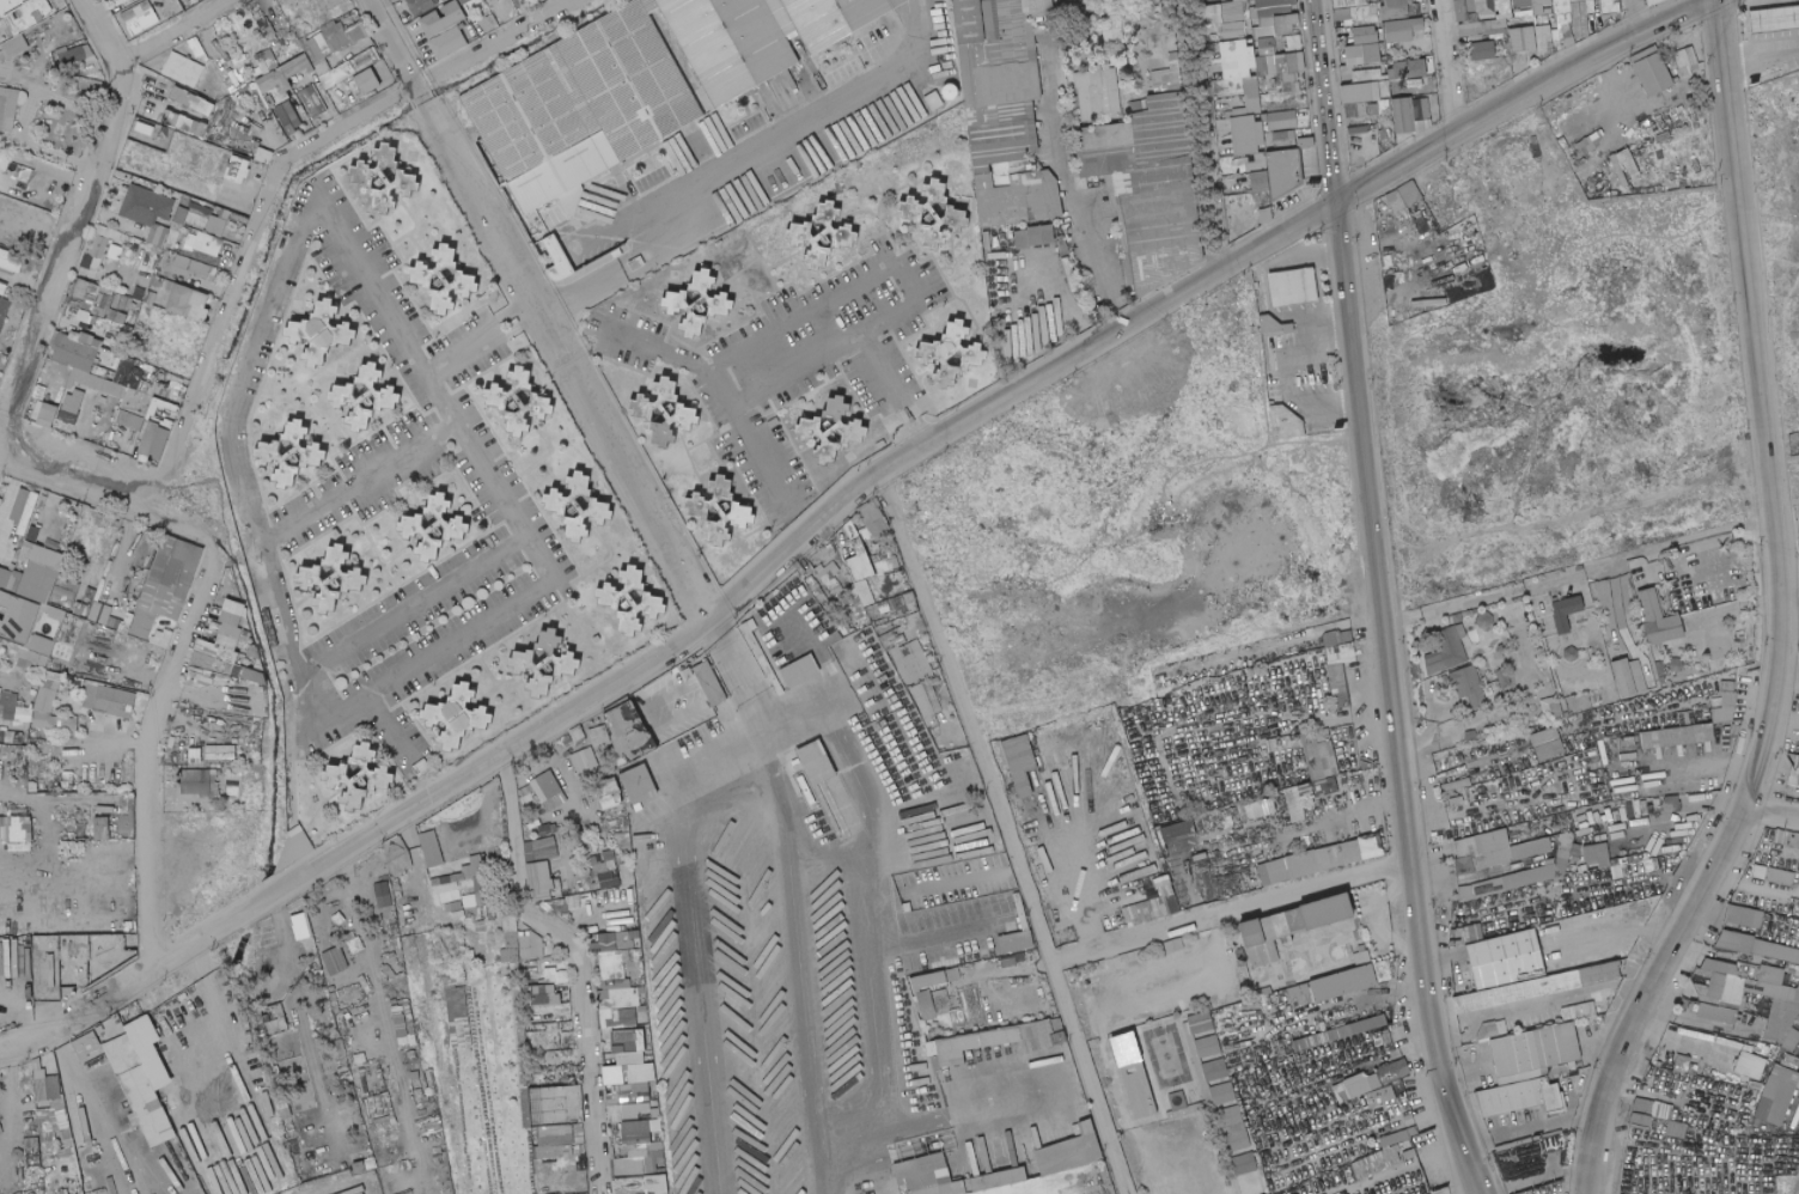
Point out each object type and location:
gas station: (1762, 5)
gas station: (1293, 286)

